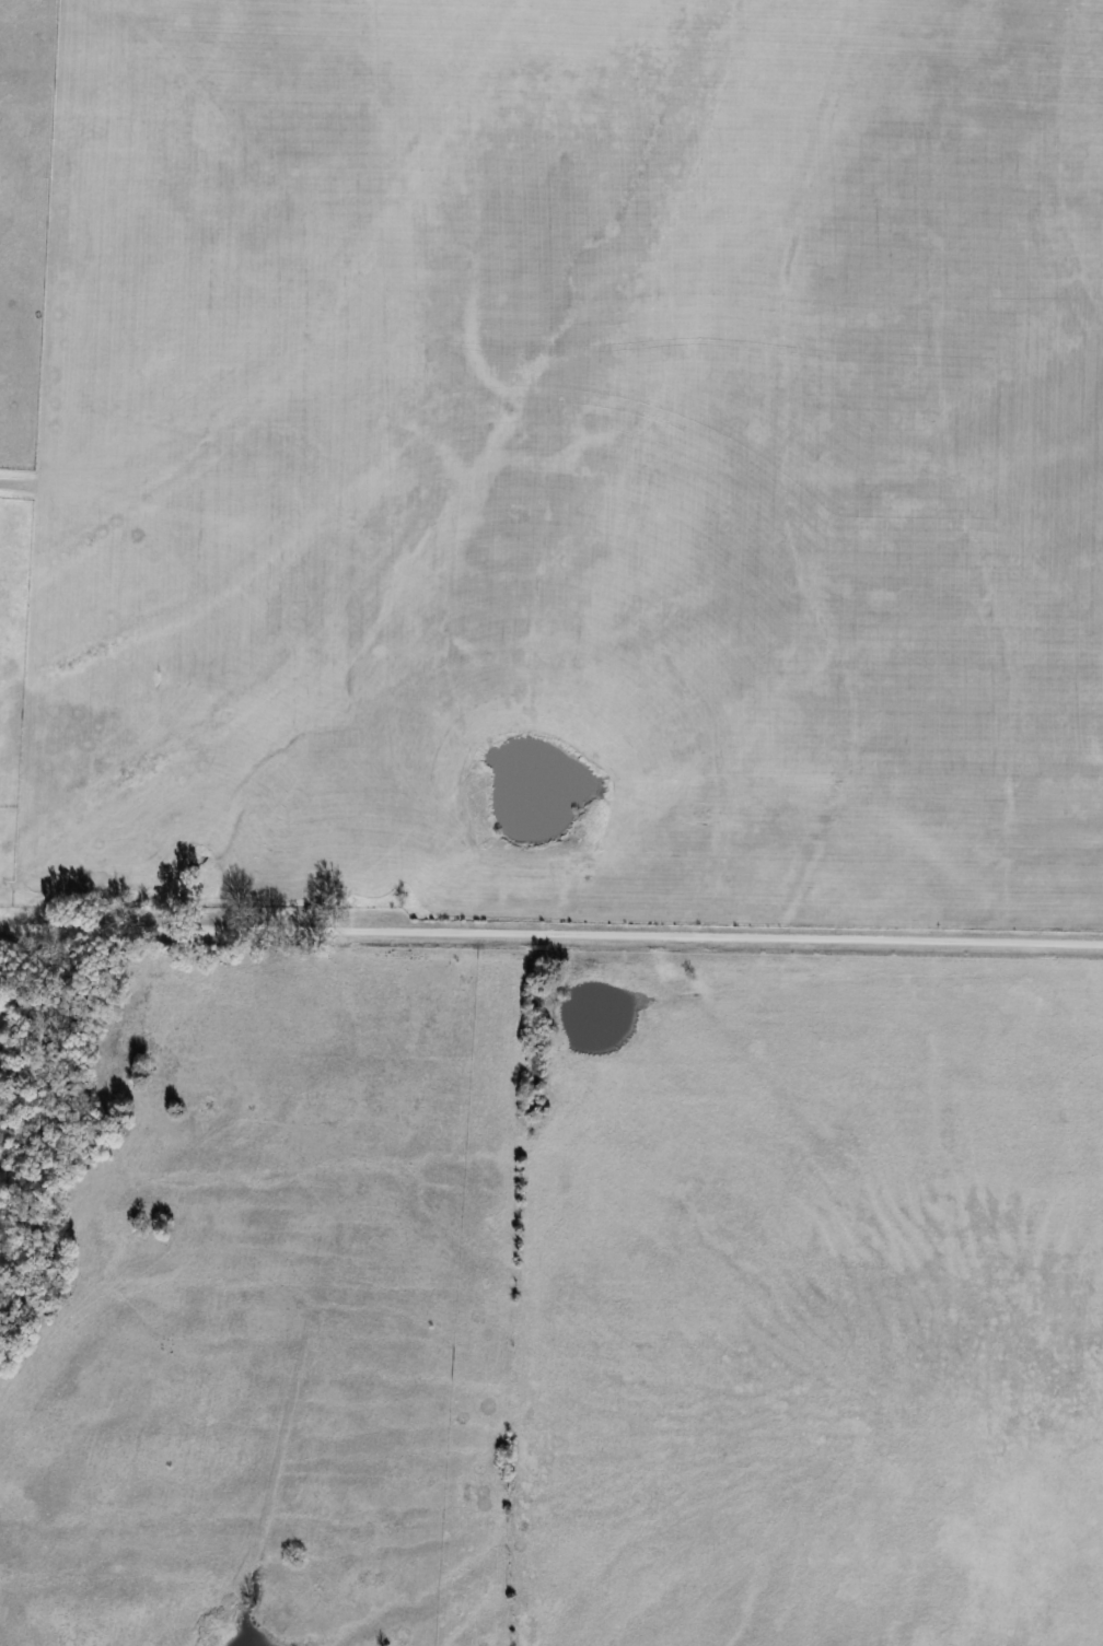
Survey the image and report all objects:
road: (551, 935)

